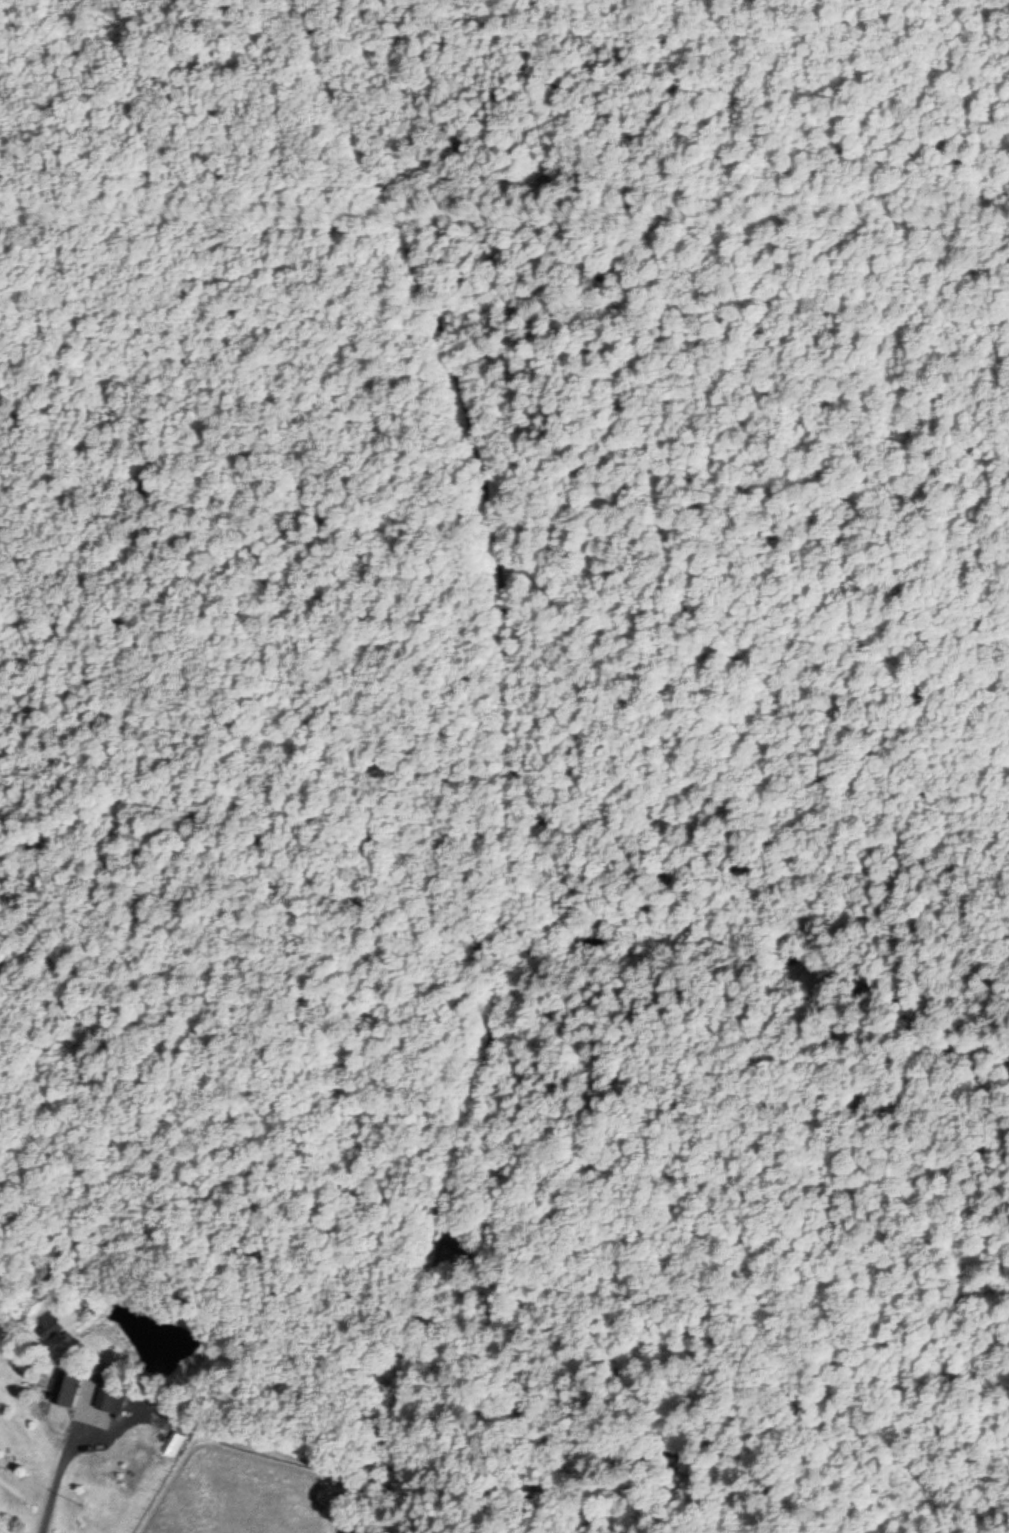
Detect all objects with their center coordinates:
building: (63, 1384)
building: (106, 1395)
road: (50, 1484)

